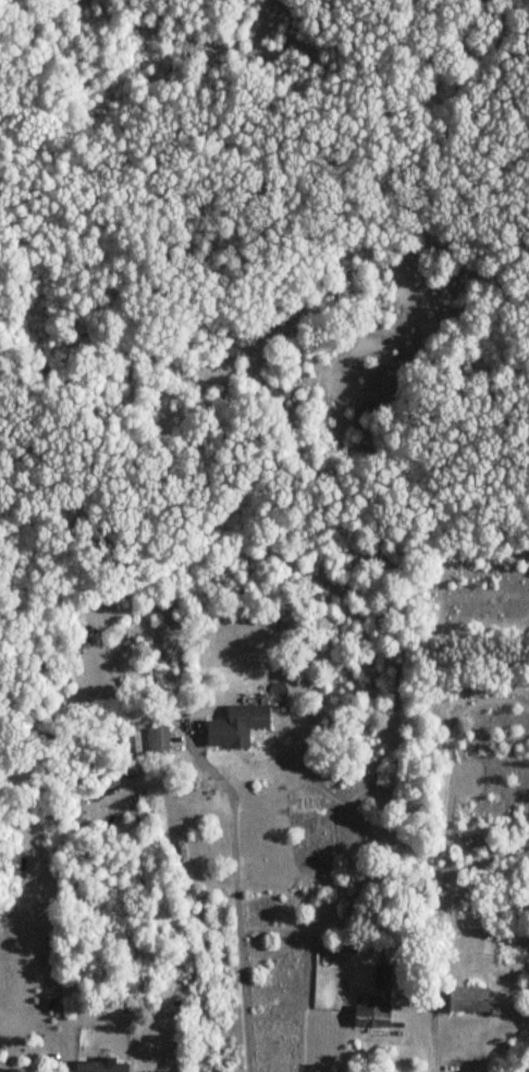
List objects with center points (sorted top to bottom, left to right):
building: (235, 725)
building: (158, 741)
road: (239, 914)
building: (381, 976)
building: (466, 999)
building: (370, 1015)
road: (427, 1043)
building: (100, 1065)

